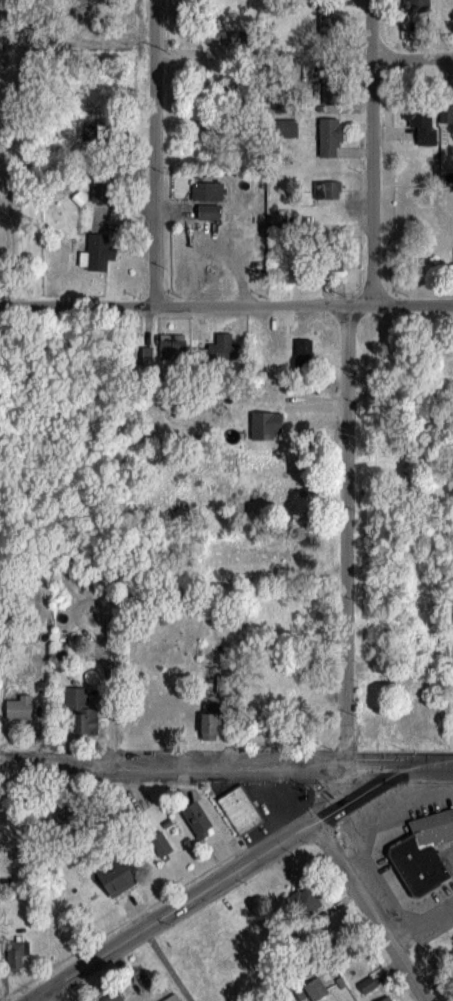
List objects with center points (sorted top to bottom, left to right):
building: (418, 7)
building: (328, 19)
building: (218, 36)
road: (412, 58)
building: (446, 113)
building: (421, 121)
building: (222, 122)
building: (96, 131)
building: (330, 137)
road: (371, 151)
road: (156, 152)
building: (327, 188)
building: (209, 192)
building: (209, 212)
building: (98, 252)
road: (226, 304)
building: (223, 348)
building: (173, 350)
building: (141, 356)
building: (266, 426)
building: (394, 479)
road: (346, 535)
building: (223, 549)
building: (281, 550)
building: (413, 679)
building: (282, 693)
building: (19, 707)
building: (81, 710)
building: (210, 721)
building: (424, 725)
building: (373, 729)
road: (226, 765)
road: (440, 779)
building: (239, 809)
building: (63, 814)
building: (198, 820)
building: (160, 844)
building: (421, 851)
road: (366, 853)
building: (116, 877)
road: (217, 884)
road: (369, 887)
building: (303, 902)
road: (368, 912)
building: (16, 953)
road: (168, 965)
building: (367, 985)
road: (50, 995)
building: (110, 995)
building: (174, 999)
building: (386, 999)

